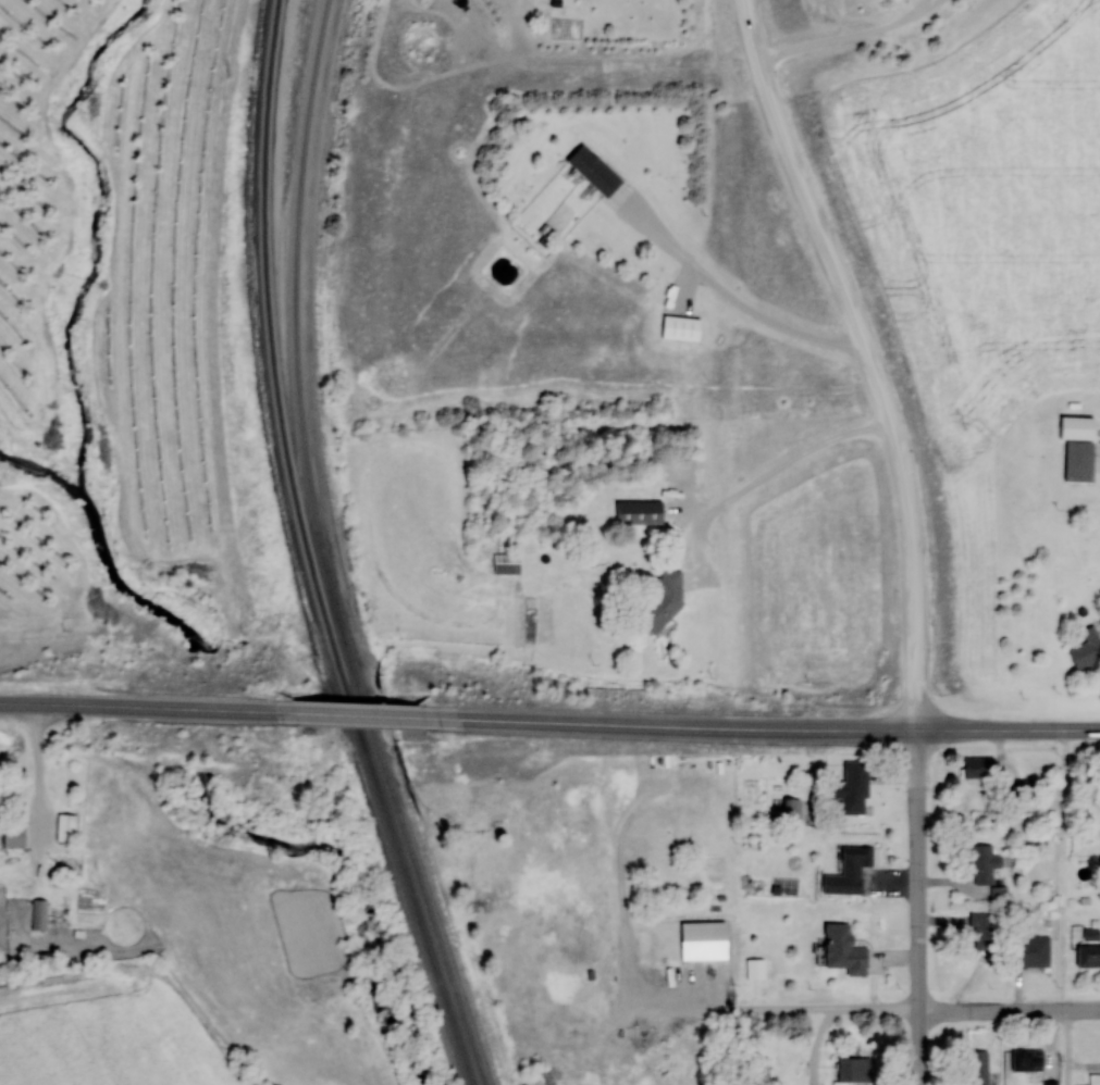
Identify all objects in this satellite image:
building: (594, 172)
building: (681, 327)
road: (866, 356)
building: (1078, 460)
building: (640, 512)
railway: (323, 551)
railway: (307, 552)
building: (506, 563)
building: (662, 599)
building: (1087, 648)
road: (138, 706)
road: (357, 713)
road: (676, 725)
road: (1006, 729)
building: (978, 768)
building: (1024, 788)
building: (853, 789)
building: (791, 807)
building: (65, 828)
building: (14, 837)
building: (985, 864)
building: (849, 872)
building: (999, 895)
road: (916, 907)
building: (39, 915)
building: (984, 930)
building: (703, 940)
building: (844, 950)
building: (1034, 951)
building: (1088, 956)
road: (1009, 1012)
building: (1027, 1061)
building: (977, 1068)
building: (854, 1070)

